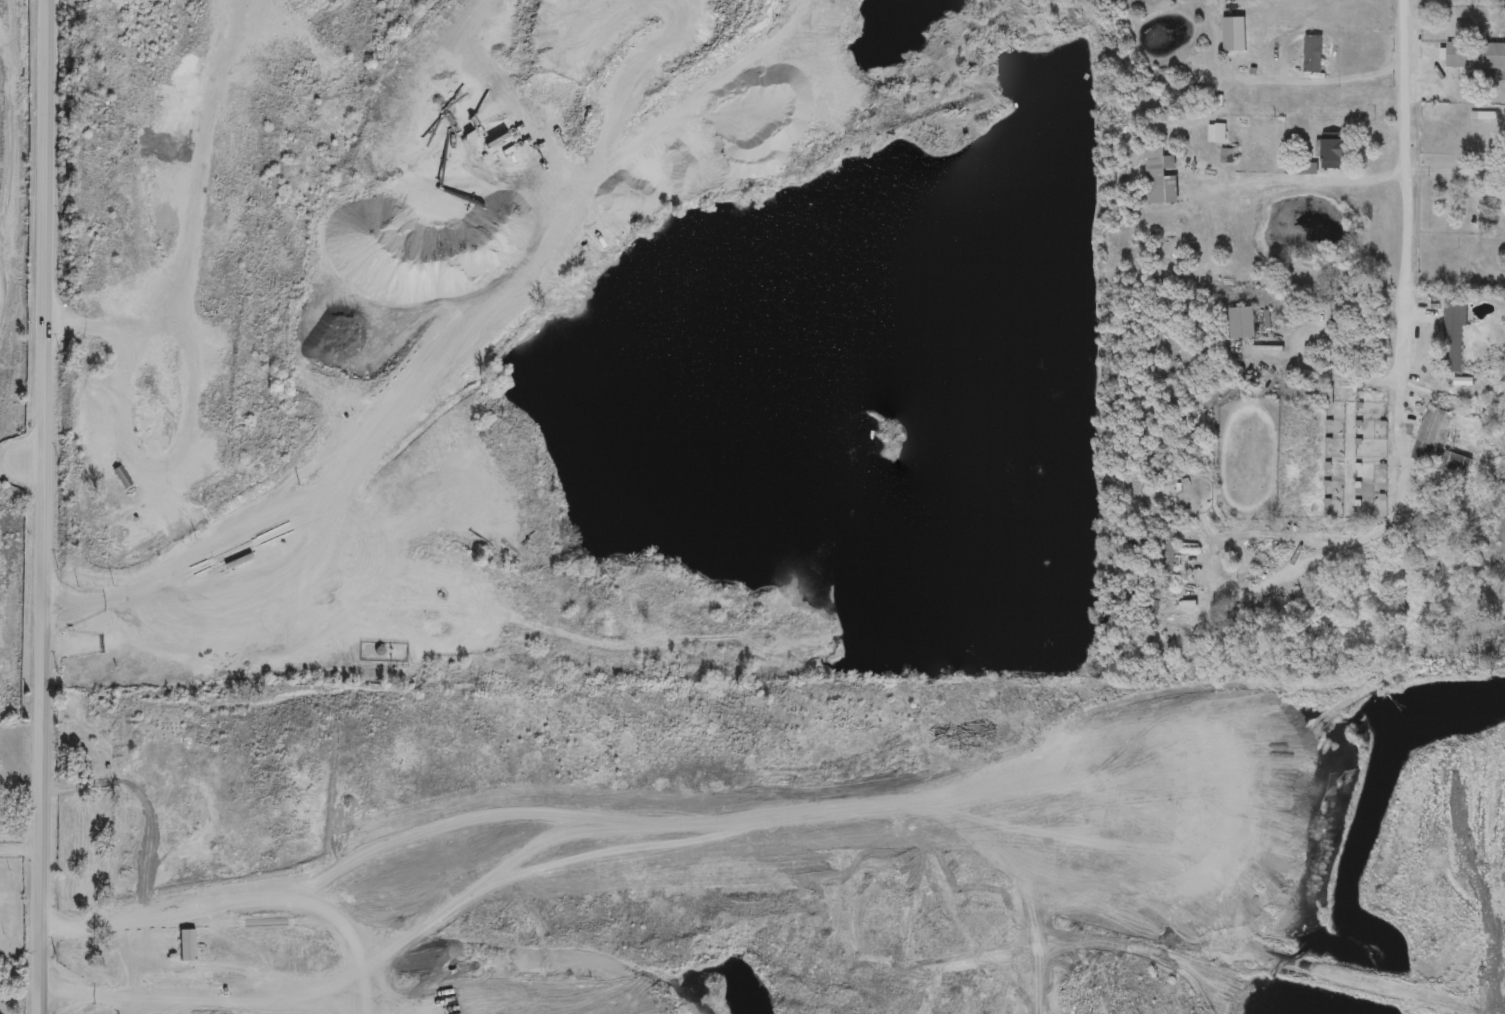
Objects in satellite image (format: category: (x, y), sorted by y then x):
building: (1462, 34)
building: (1312, 54)
building: (1475, 55)
road: (1334, 80)
building: (1215, 133)
building: (1333, 154)
road: (1451, 172)
building: (1155, 174)
road: (1295, 183)
road: (1404, 318)
building: (1241, 323)
building: (1452, 338)
building: (217, 339)
road: (1326, 375)
road: (426, 378)
building: (1434, 439)
building: (104, 492)
road: (45, 507)
building: (1166, 565)
road: (1252, 582)
road: (94, 598)
road: (314, 600)
road: (148, 610)
building: (1147, 640)
road: (98, 644)
road: (21, 791)
road: (20, 835)
road: (20, 849)
road: (187, 914)
road: (371, 951)
road: (257, 994)
road: (124, 995)

